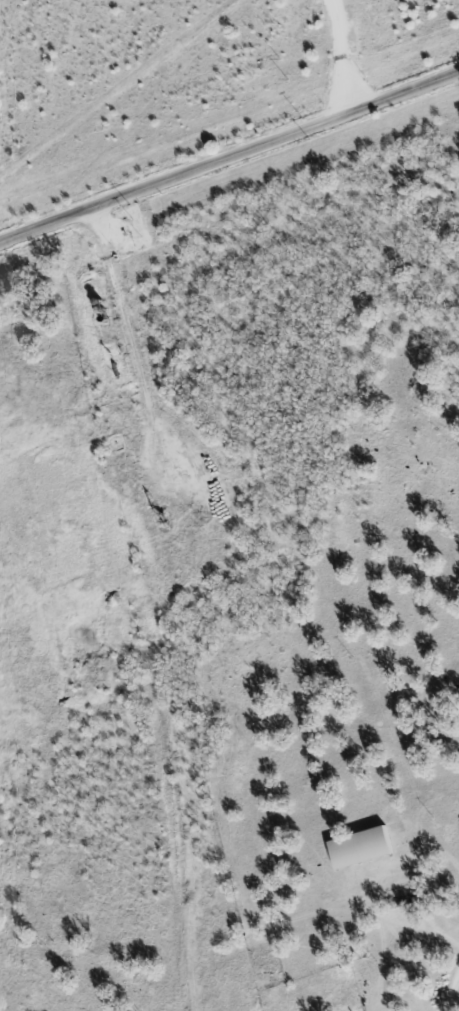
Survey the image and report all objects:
road: (340, 55)
road: (229, 156)
road: (128, 333)
building: (357, 848)
road: (451, 989)

